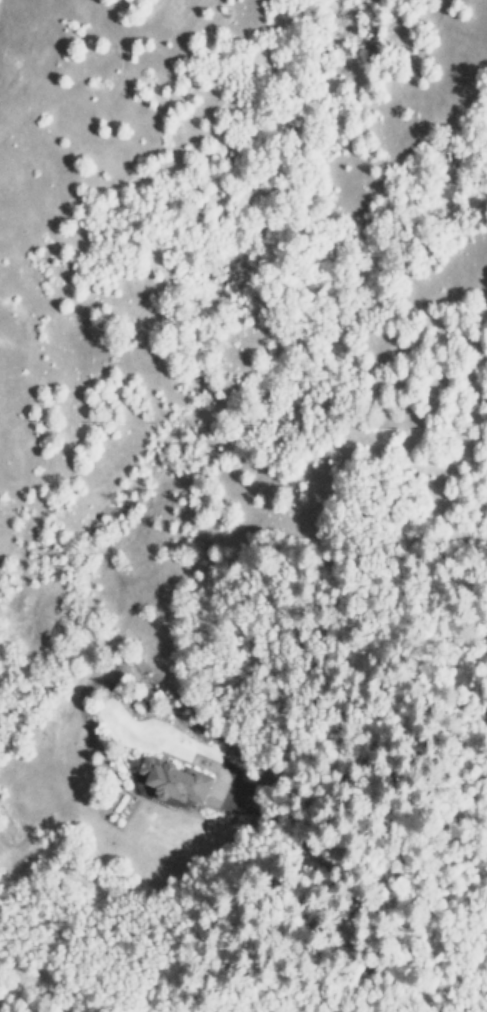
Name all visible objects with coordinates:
building: (179, 779)
road: (336, 894)

